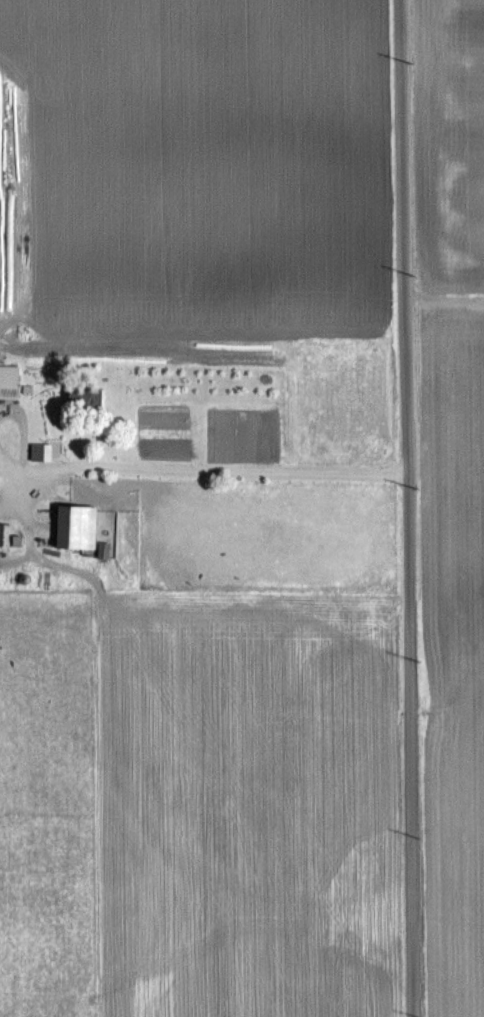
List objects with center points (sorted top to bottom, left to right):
building: (10, 382)
building: (88, 398)
building: (43, 452)
road: (234, 467)
road: (408, 508)
building: (81, 528)
building: (4, 532)

